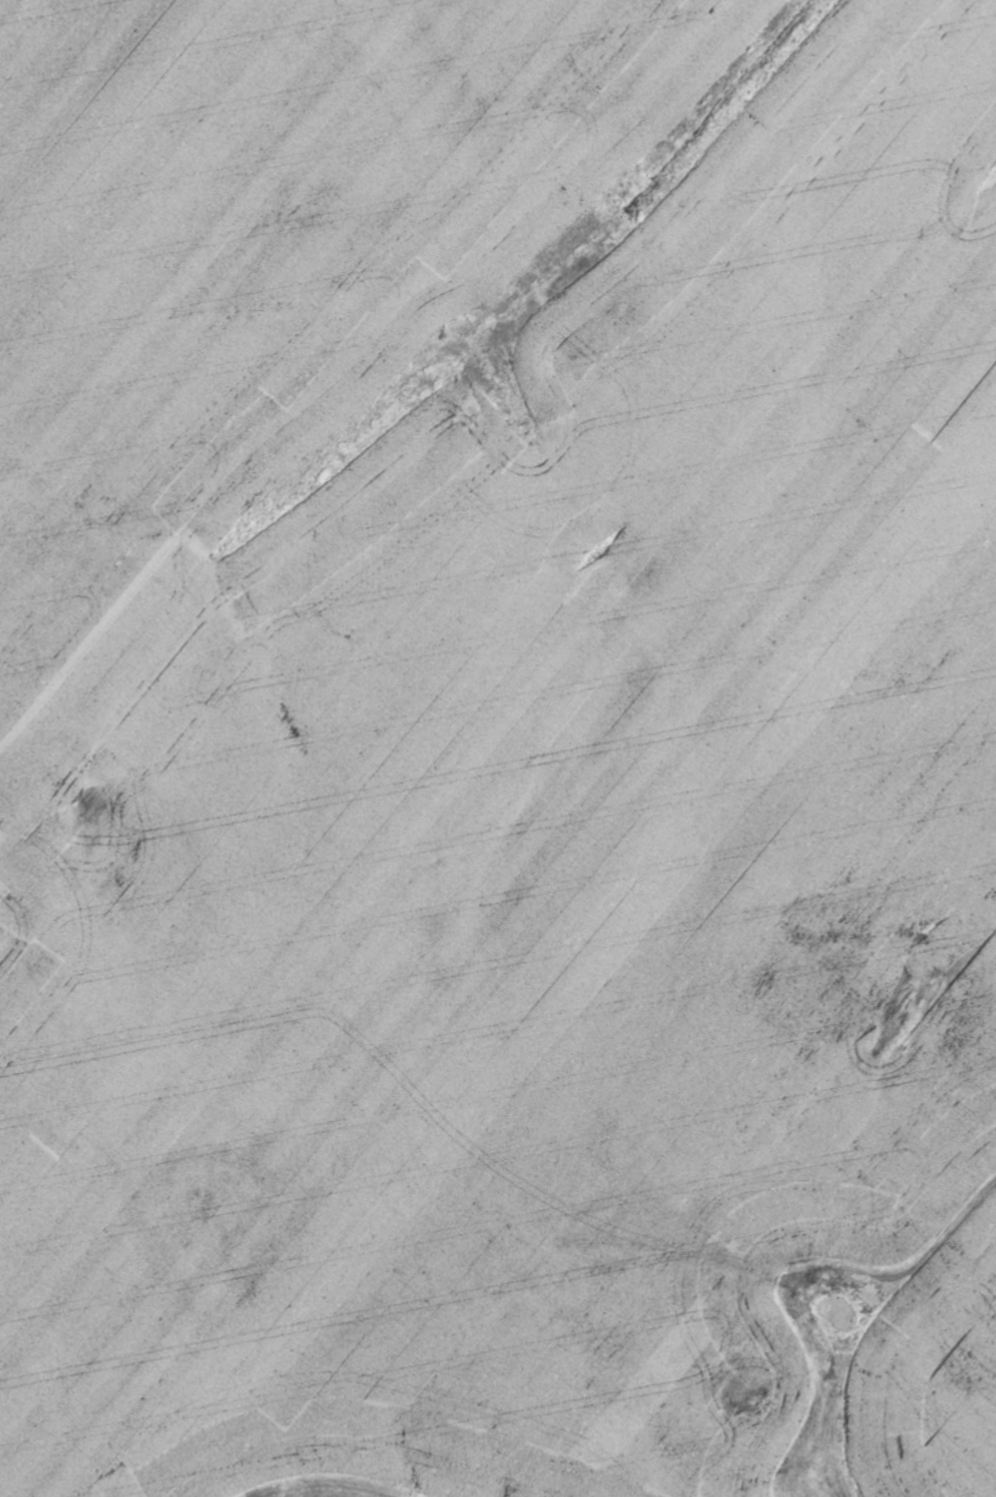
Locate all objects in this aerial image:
road: (815, 1210)

